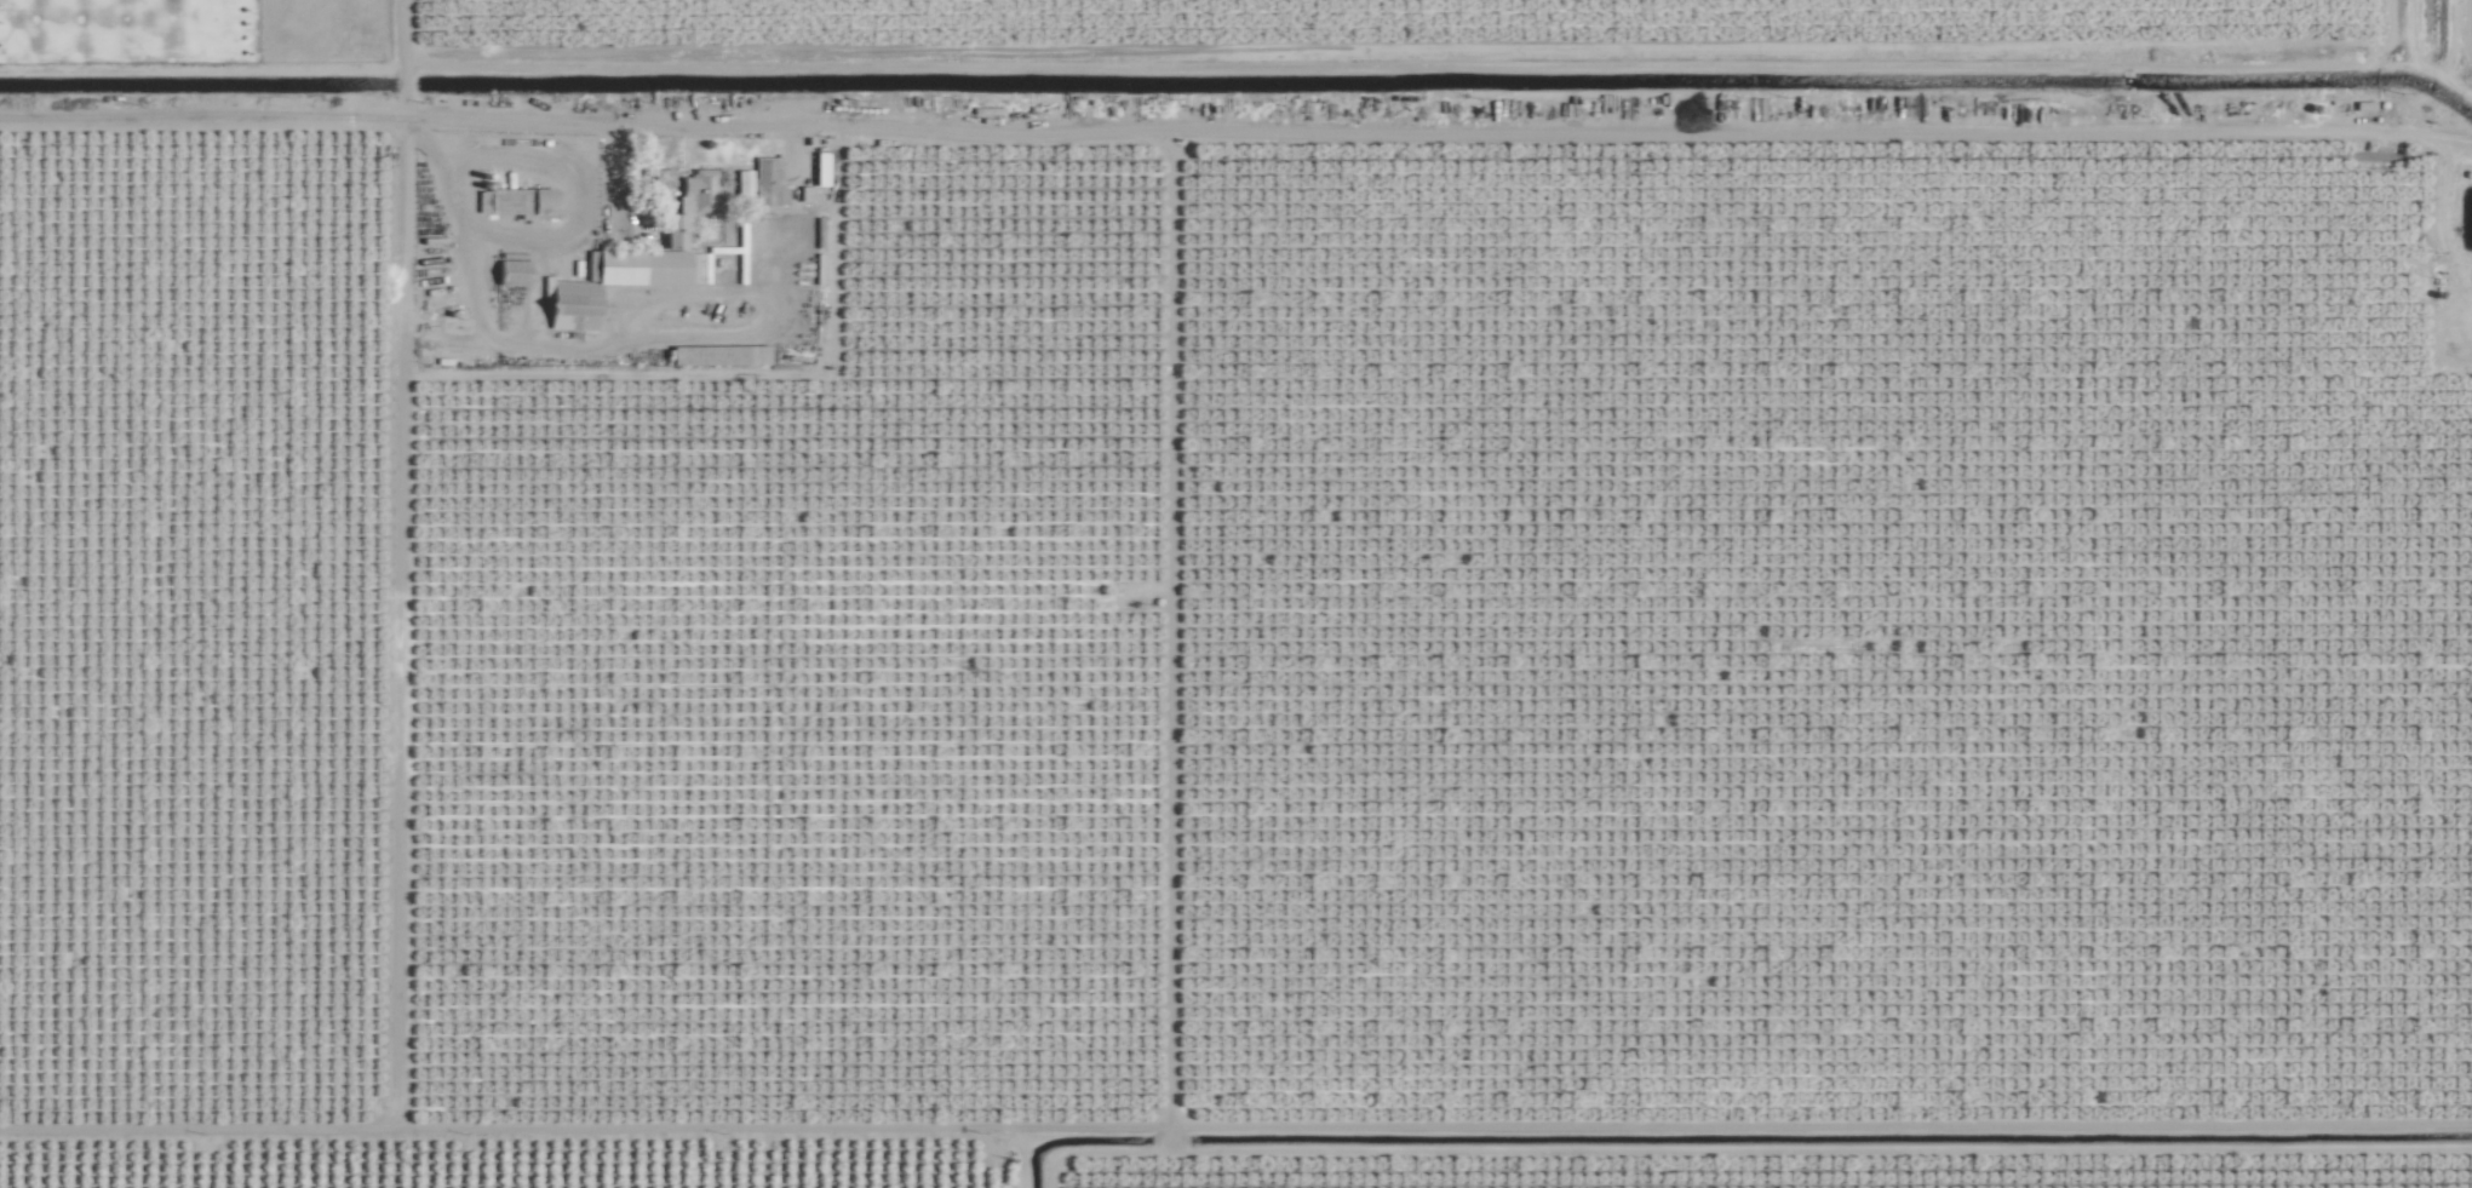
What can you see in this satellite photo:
road: (380, 62)
road: (584, 124)
road: (618, 174)
building: (702, 190)
building: (524, 200)
building: (764, 242)
building: (514, 272)
building: (620, 277)
building: (722, 354)
road: (391, 819)

